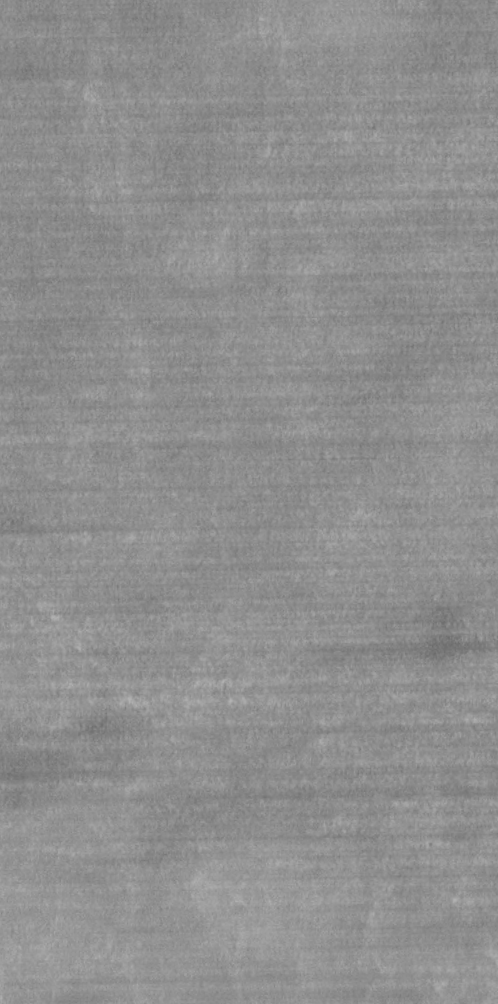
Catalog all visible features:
crop: (249, 502)

